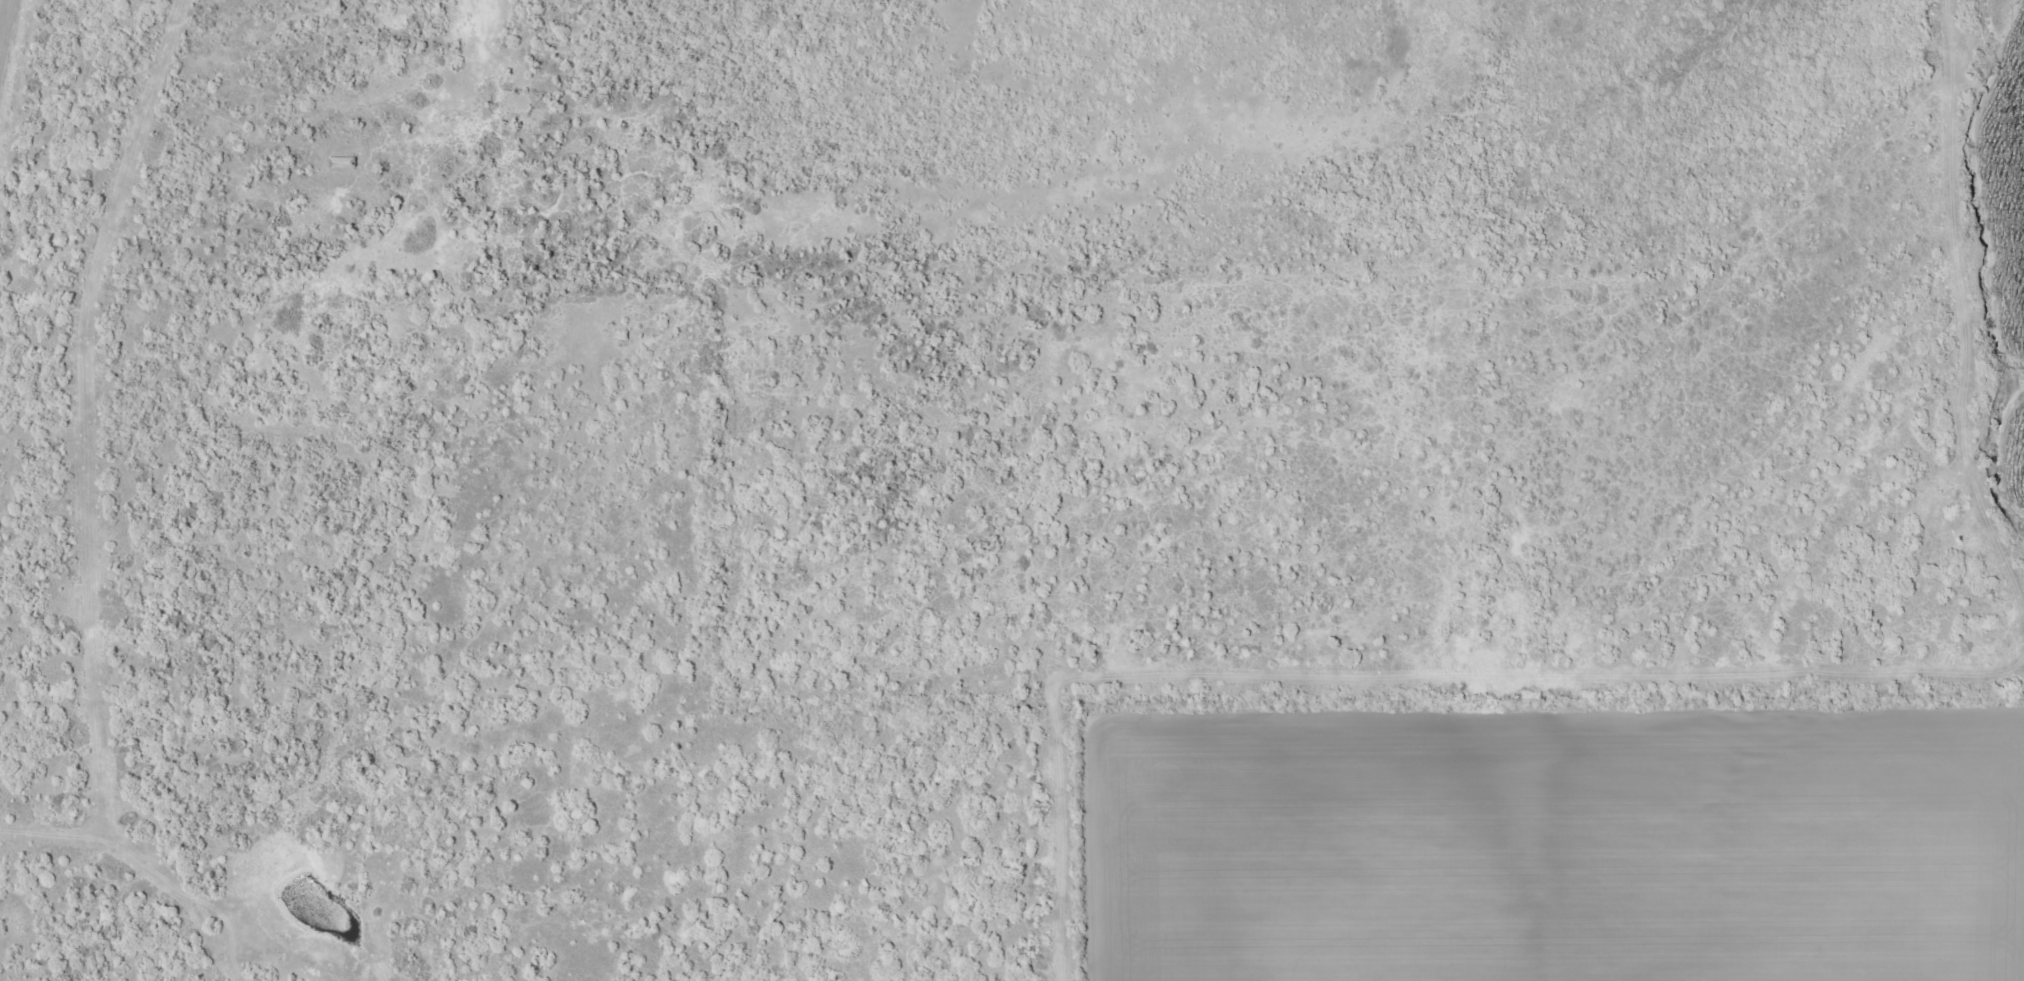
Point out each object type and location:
building: (343, 161)
road: (1205, 274)

